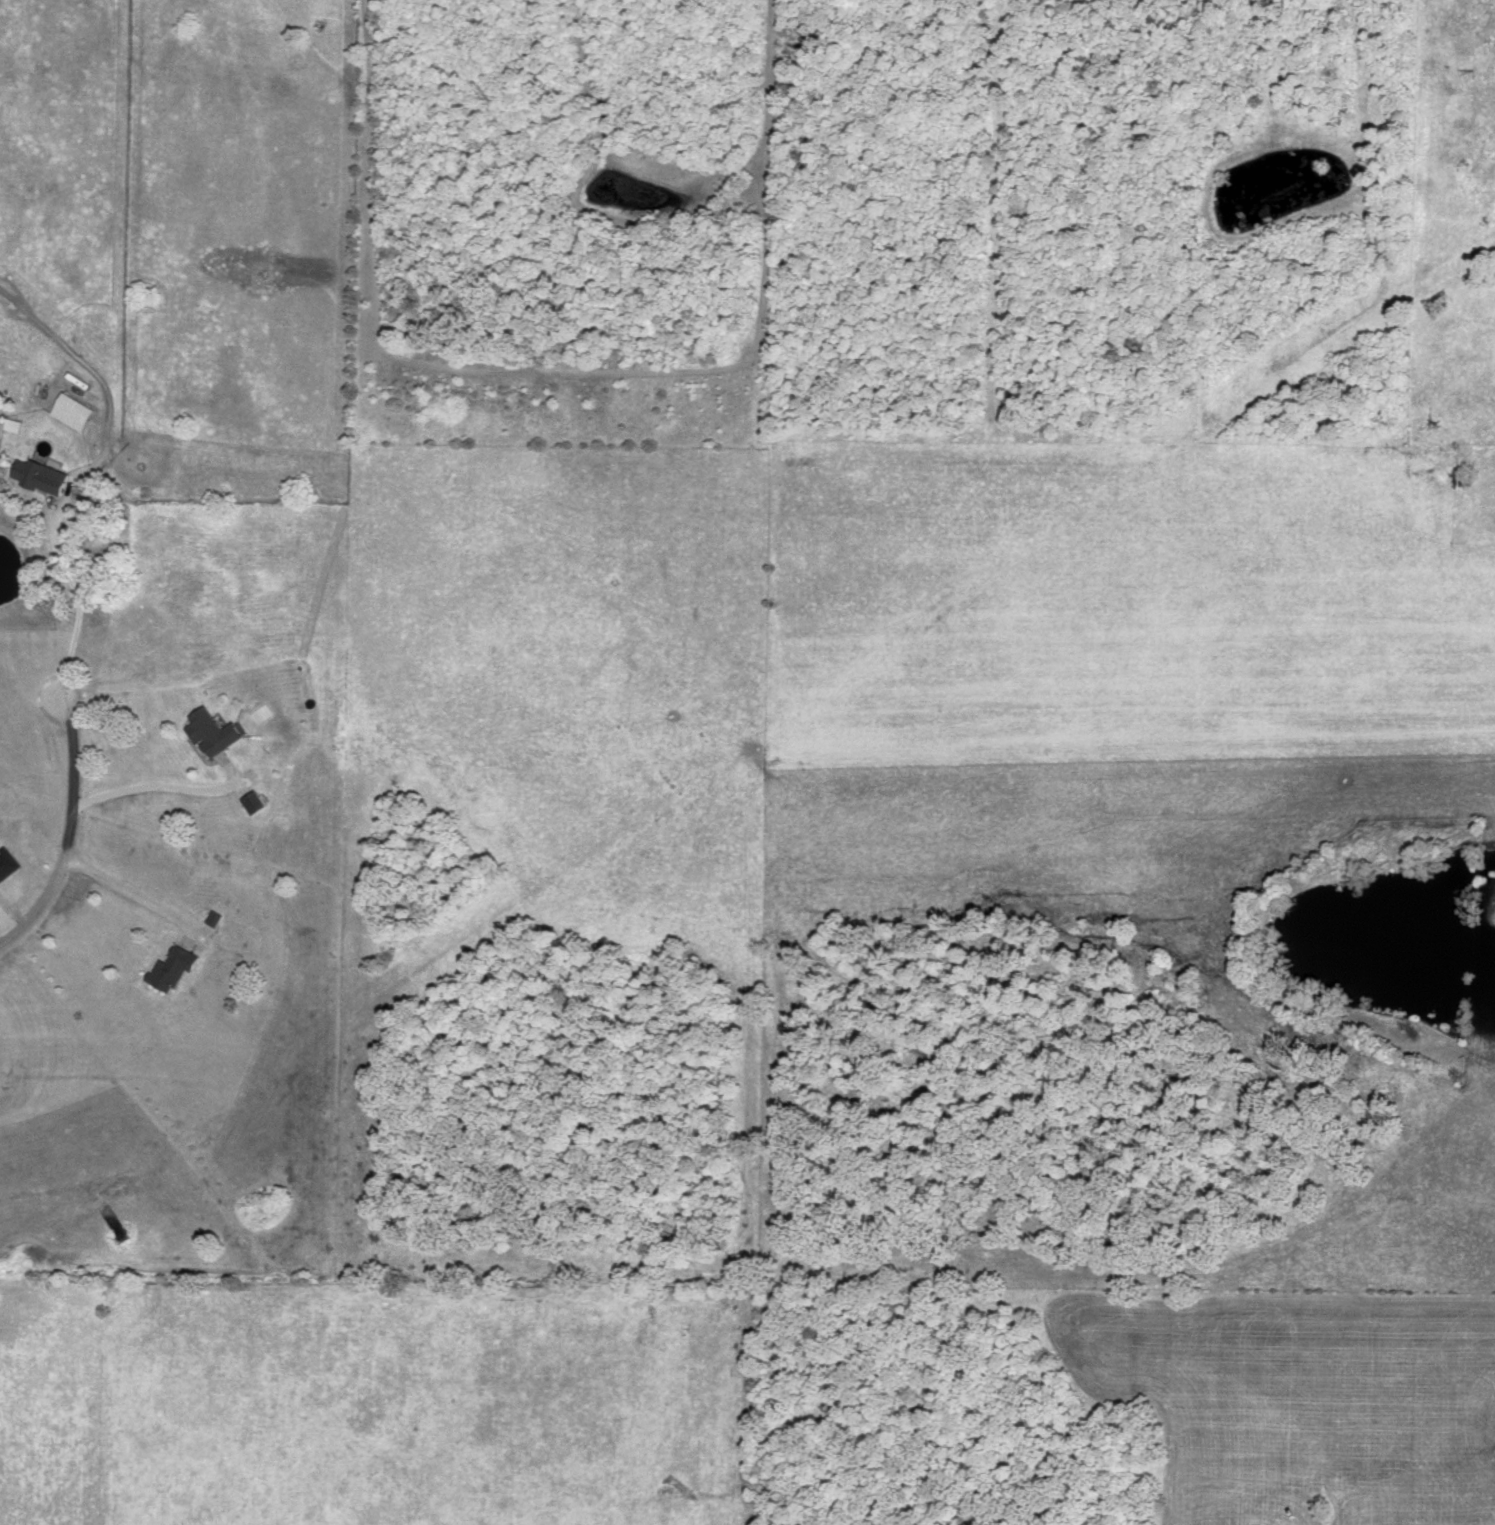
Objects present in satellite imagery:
building: (68, 413)
building: (35, 478)
road: (81, 606)
building: (209, 734)
road: (160, 787)
building: (249, 803)
road: (68, 834)
road: (130, 894)
building: (168, 969)

